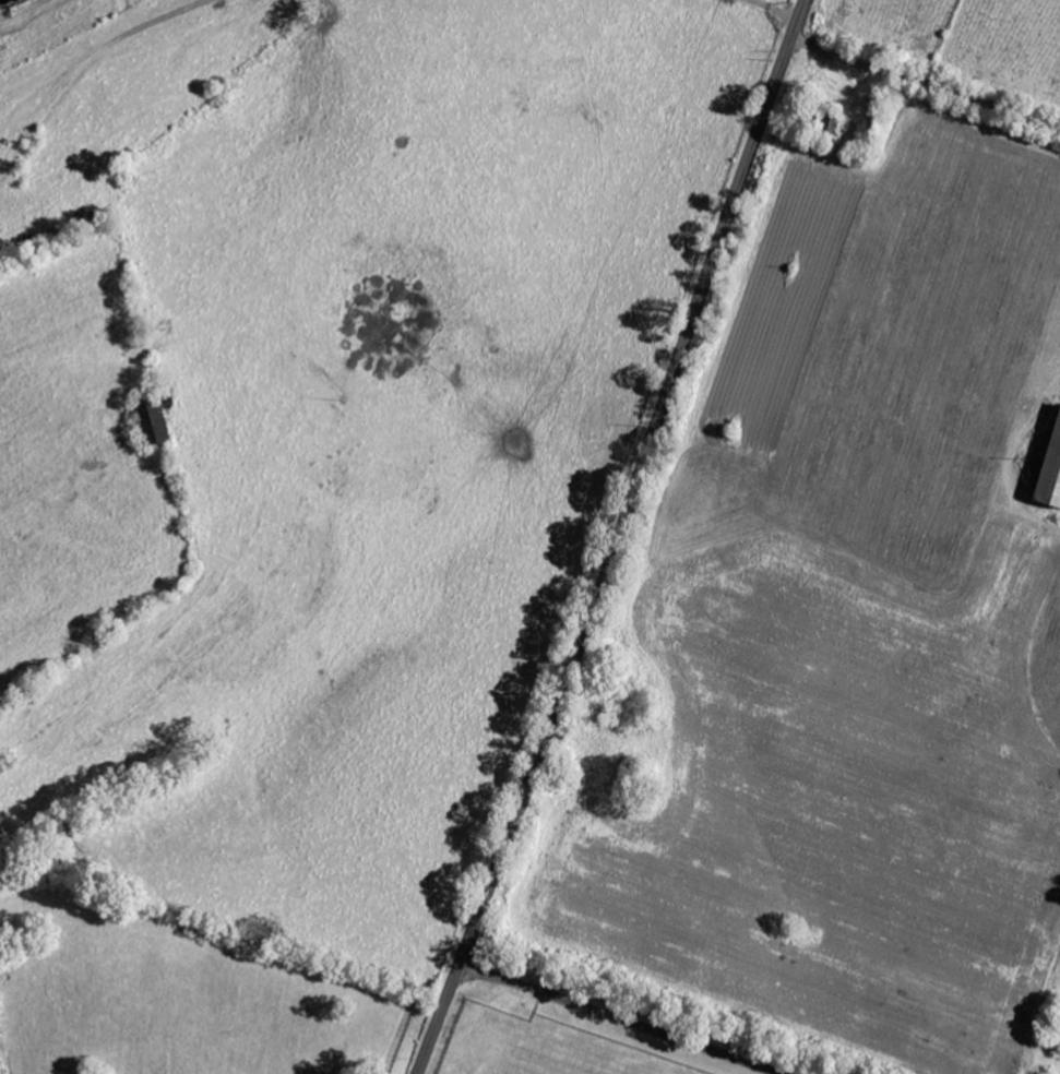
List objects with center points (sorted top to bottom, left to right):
road: (925, 83)
building: (162, 425)
building: (1047, 467)
road: (618, 539)
road: (620, 1018)

